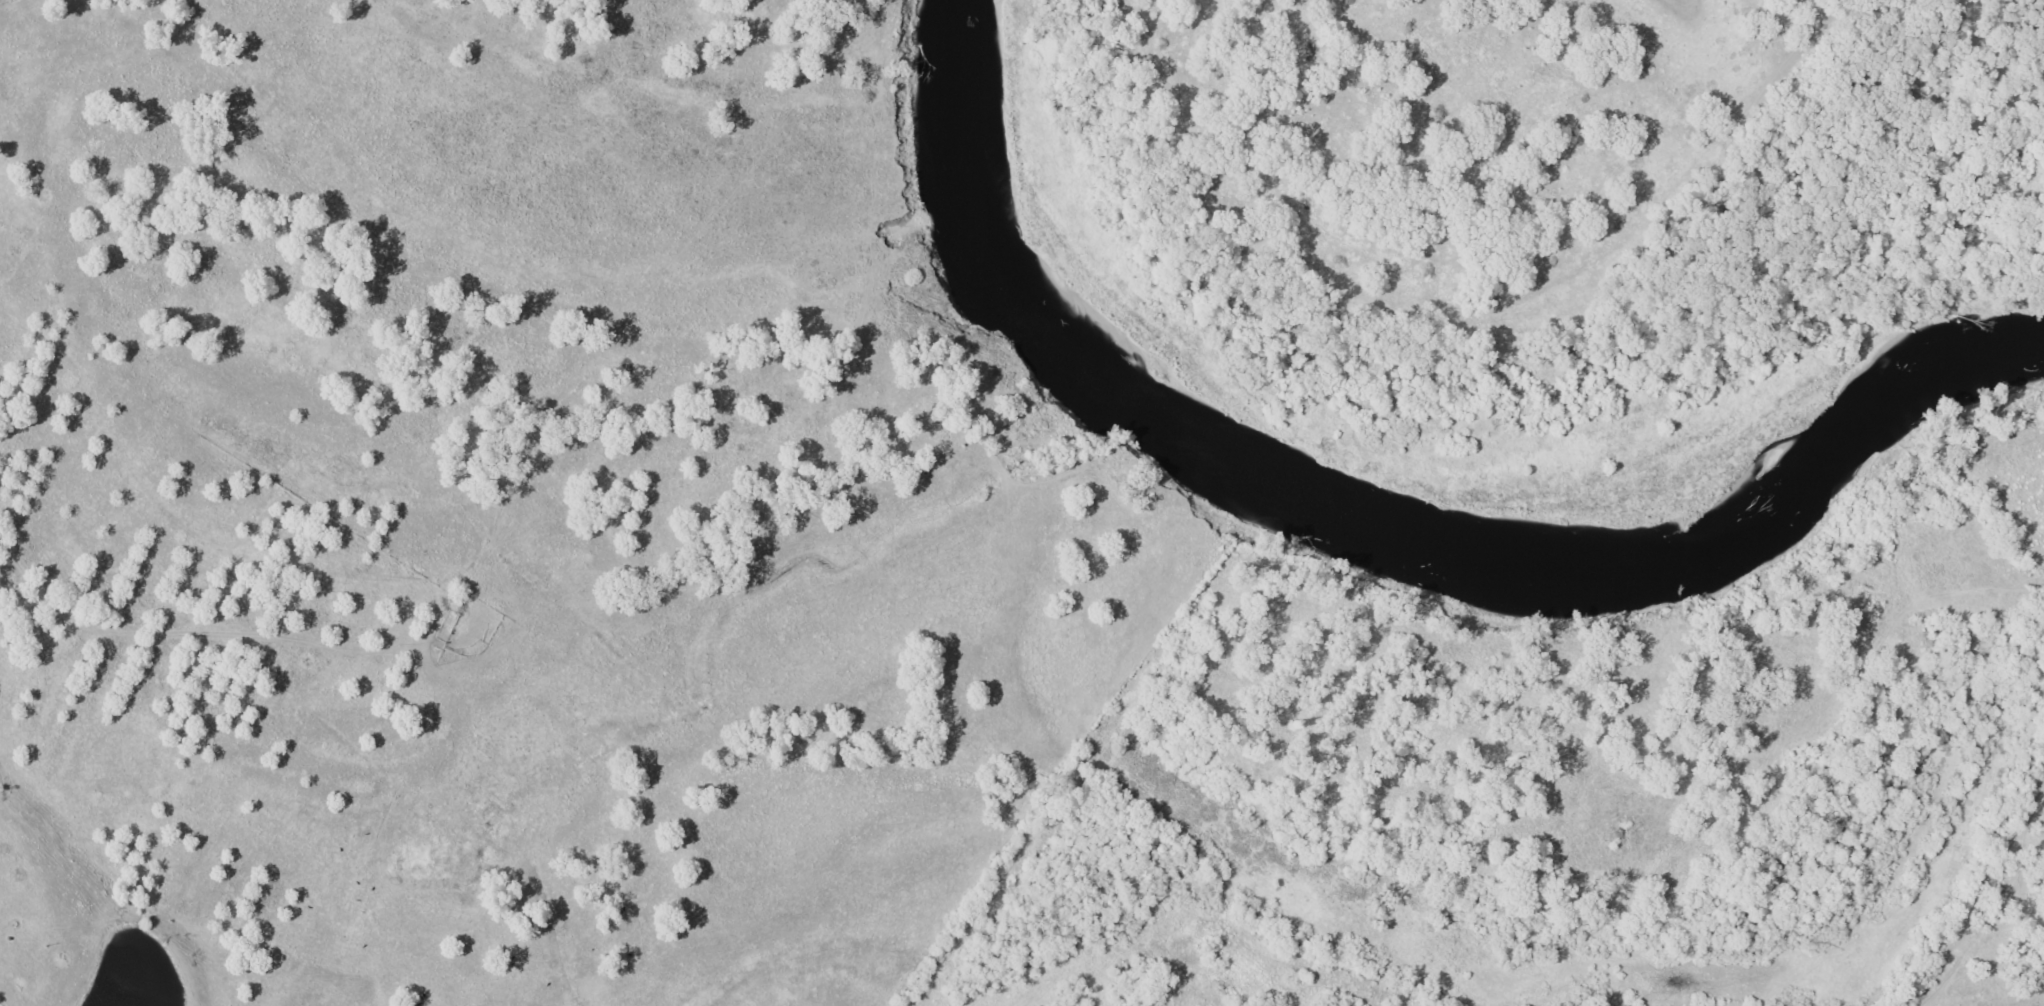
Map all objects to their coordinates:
river: (1383, 516)

